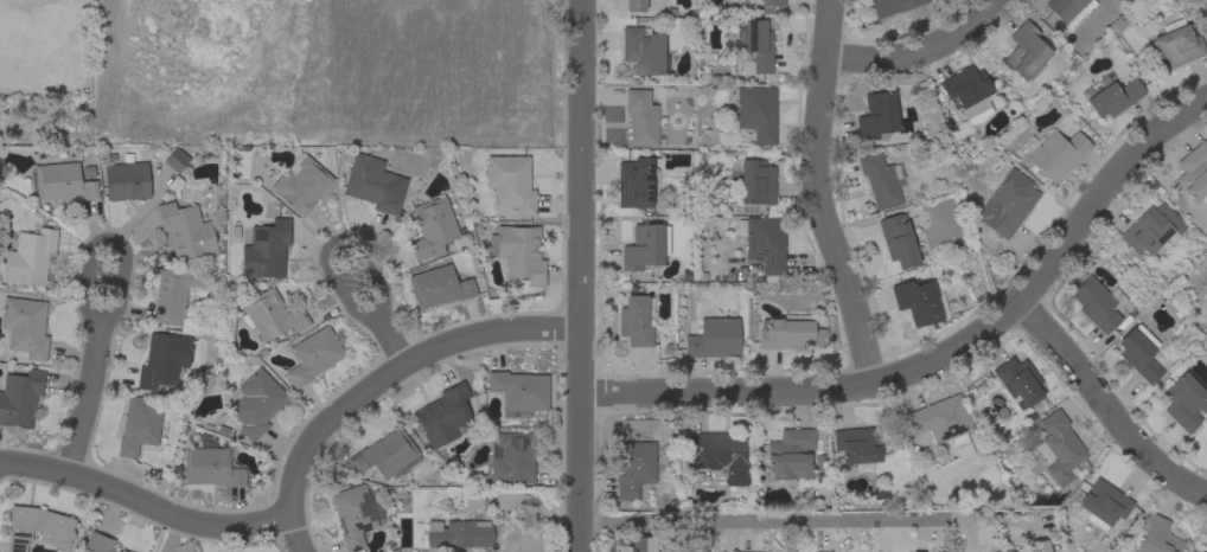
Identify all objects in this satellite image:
building: (769, 4)
building: (634, 5)
building: (890, 6)
park: (27, 7)
building: (1064, 8)
building: (755, 43)
building: (1177, 45)
road: (913, 46)
building: (643, 50)
building: (1024, 50)
park: (281, 70)
building: (966, 94)
building: (1112, 97)
building: (756, 111)
building: (876, 115)
building: (641, 117)
building: (1052, 153)
building: (175, 159)
building: (1194, 172)
building: (126, 180)
building: (880, 180)
building: (63, 181)
building: (756, 181)
building: (510, 182)
building: (634, 182)
building: (301, 184)
building: (373, 184)
road: (818, 197)
building: (1007, 200)
building: (432, 227)
building: (1151, 229)
building: (185, 230)
building: (898, 239)
road: (111, 242)
building: (764, 242)
road: (333, 244)
building: (643, 246)
building: (266, 249)
building: (518, 251)
building: (28, 257)
road: (574, 276)
building: (439, 287)
building: (175, 293)
building: (919, 301)
building: (1097, 303)
building: (270, 315)
building: (636, 320)
building: (25, 326)
building: (1205, 329)
building: (790, 332)
building: (714, 338)
road: (391, 340)
building: (1139, 354)
building: (312, 355)
road: (945, 357)
building: (162, 359)
road: (392, 372)
building: (1017, 380)
building: (518, 391)
building: (20, 397)
road: (83, 400)
building: (1184, 402)
building: (256, 403)
road: (1103, 409)
building: (445, 415)
building: (940, 422)
building: (139, 424)
building: (856, 445)
building: (1058, 447)
building: (387, 454)
building: (791, 454)
building: (720, 455)
building: (511, 458)
building: (209, 464)
building: (633, 467)
road: (142, 501)
building: (473, 502)
building: (1103, 505)
building: (352, 515)
road: (767, 520)
building: (37, 527)
building: (458, 533)
road: (294, 534)
building: (1156, 535)
building: (691, 538)
building: (100, 543)
building: (643, 544)
building: (1035, 546)
building: (1007, 551)

